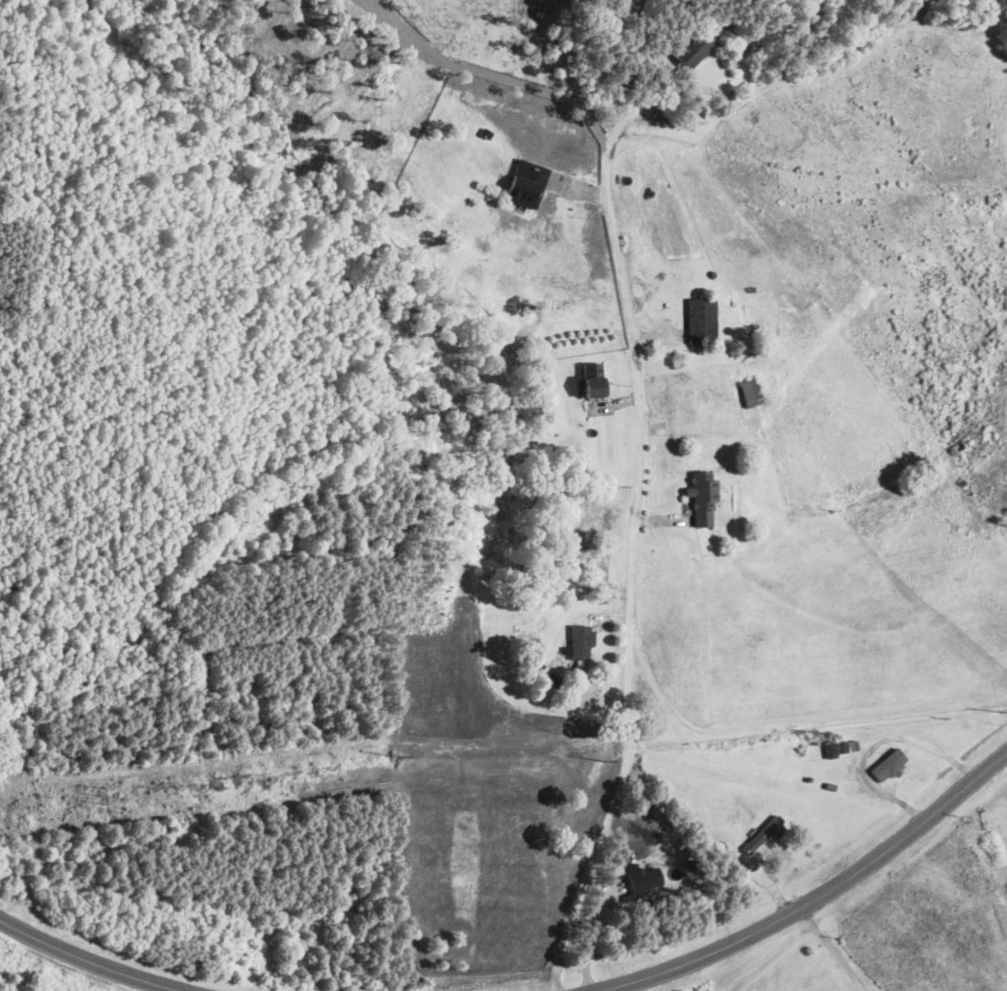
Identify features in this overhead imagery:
building: (693, 47)
building: (521, 189)
building: (702, 319)
building: (594, 379)
building: (751, 392)
building: (702, 495)
road: (631, 577)
building: (581, 645)
power tower: (1002, 711)
power tower: (820, 732)
road: (654, 739)
road: (874, 743)
building: (840, 747)
power tower: (399, 757)
power tower: (604, 759)
building: (889, 764)
power tower: (99, 795)
road: (609, 809)
building: (763, 834)
building: (643, 877)
road: (816, 901)
road: (591, 935)
road: (831, 951)
road: (92, 958)

